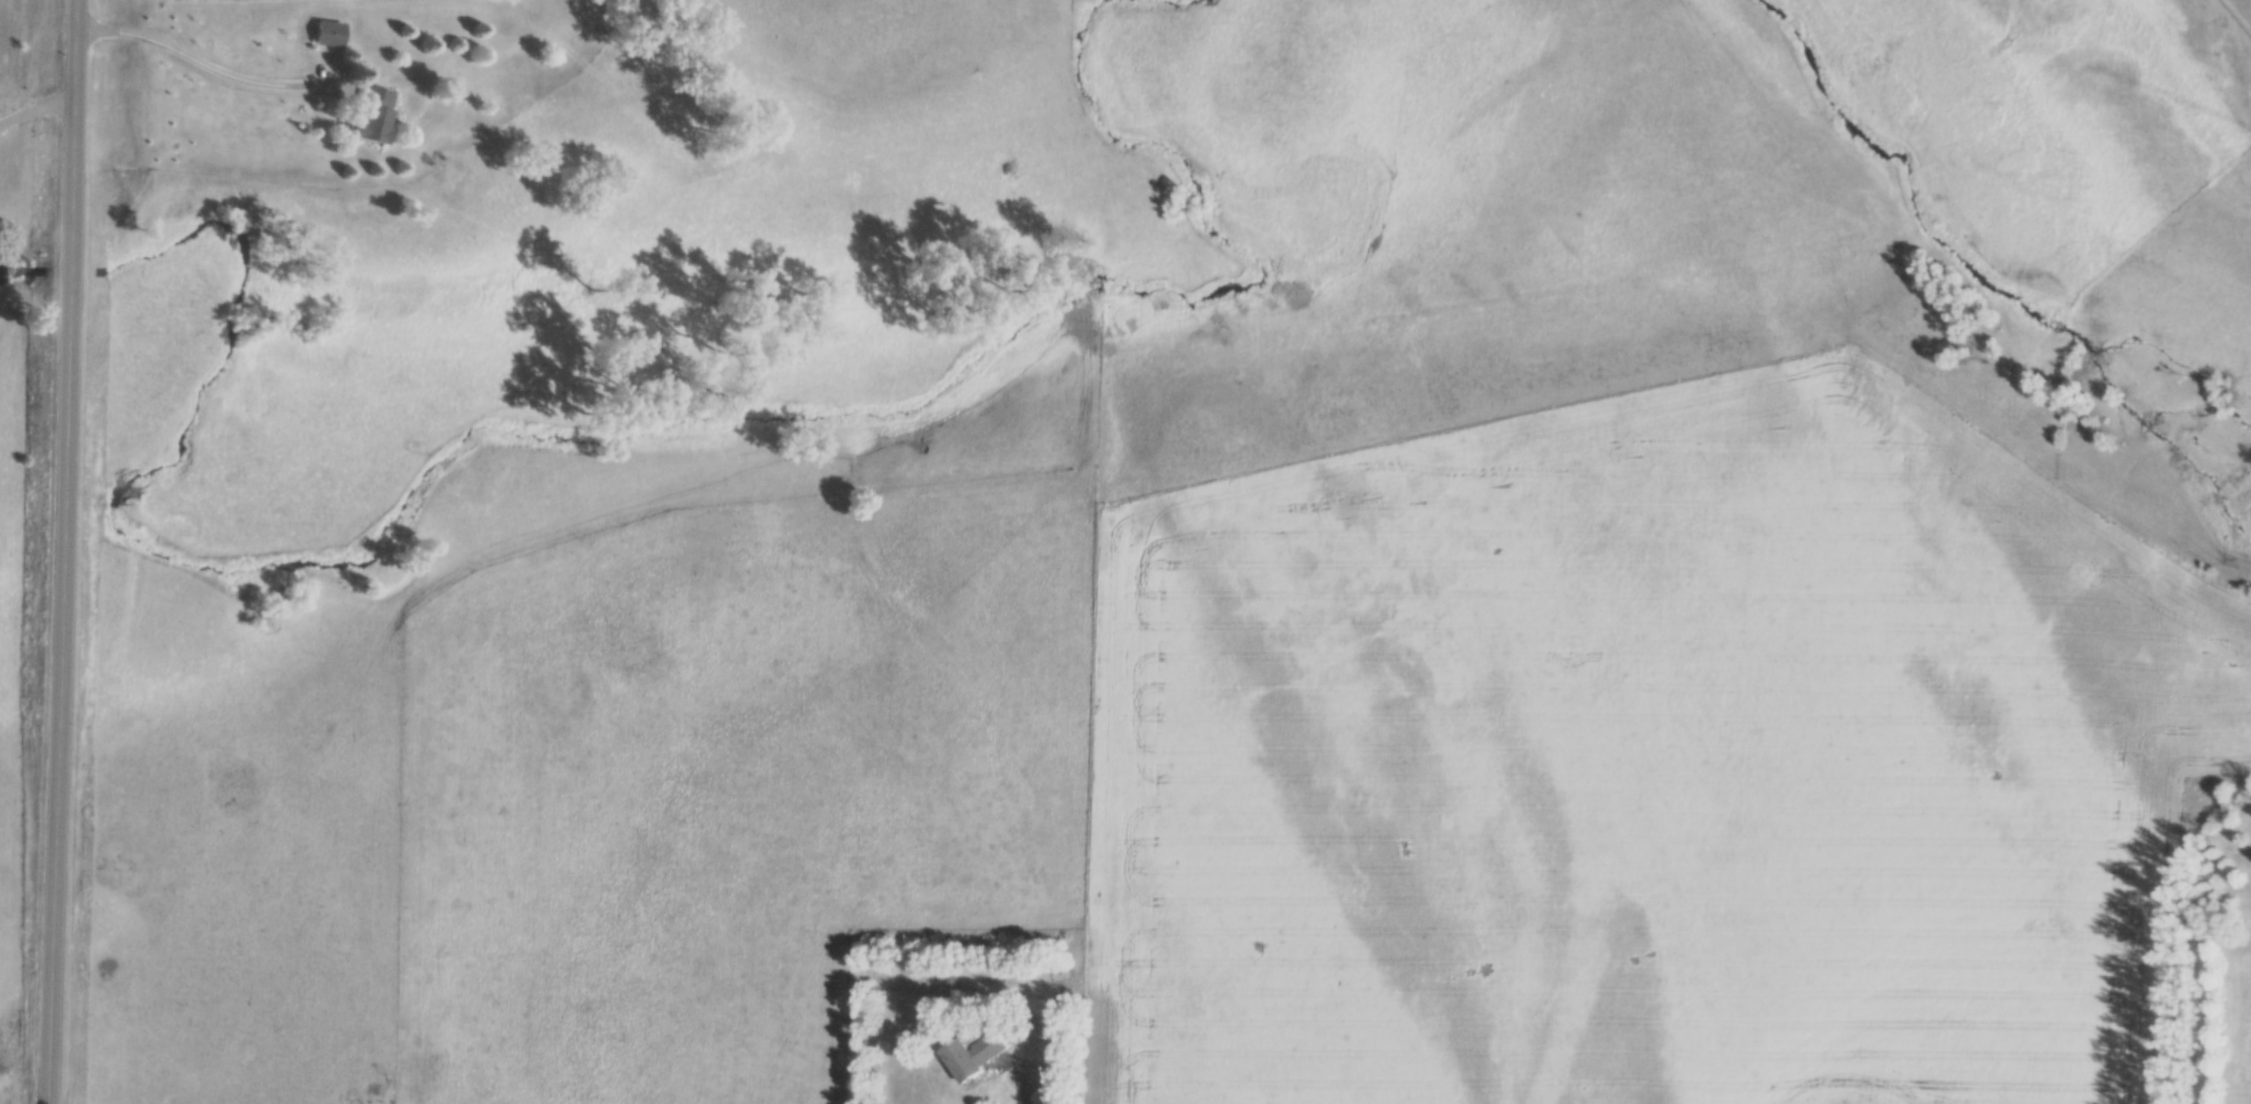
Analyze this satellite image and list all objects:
building: (327, 33)
road: (191, 62)
road: (36, 111)
building: (369, 115)
road: (61, 551)
building: (971, 1058)
road: (1021, 1093)

